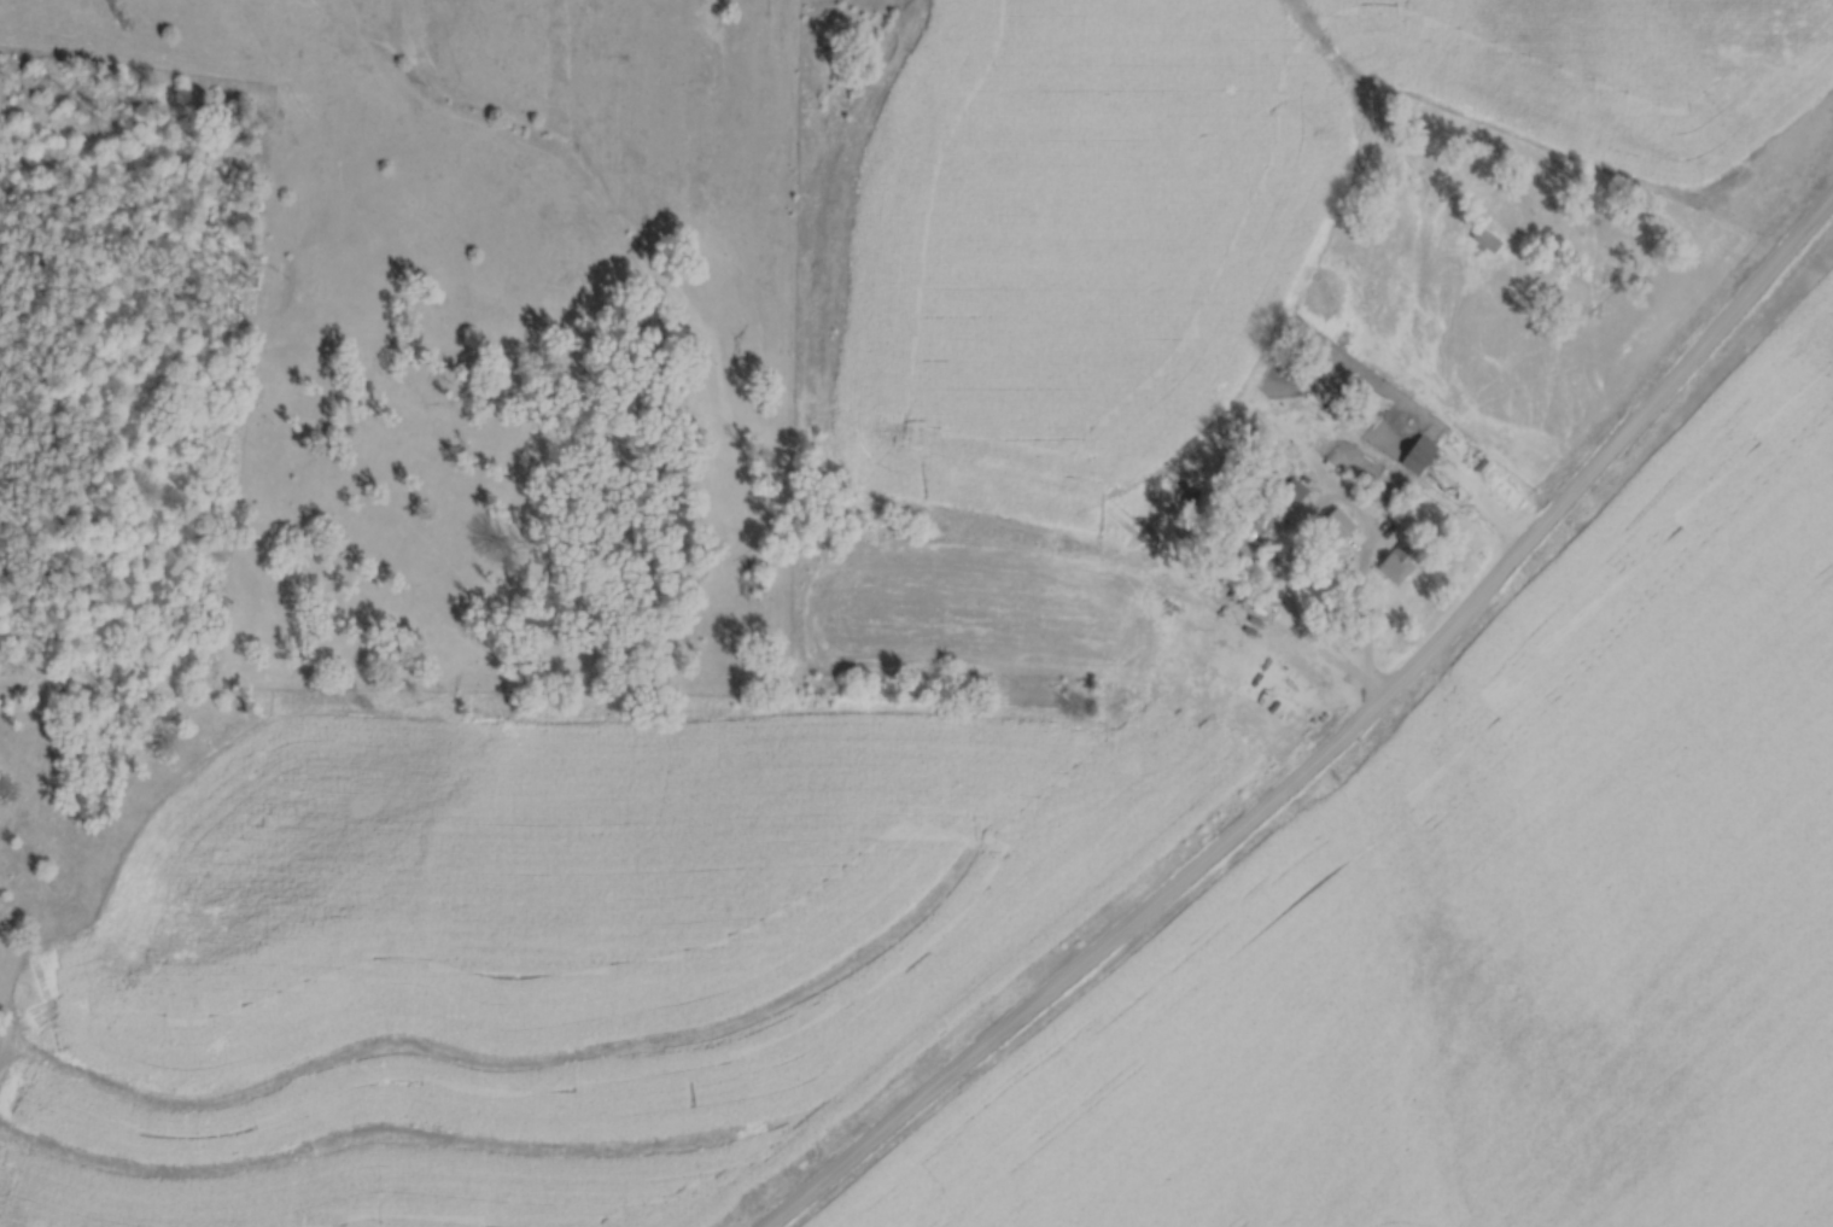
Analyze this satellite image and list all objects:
building: (1483, 236)
building: (1414, 450)
building: (1292, 486)
building: (1394, 560)
road: (1349, 620)
road: (1333, 747)

